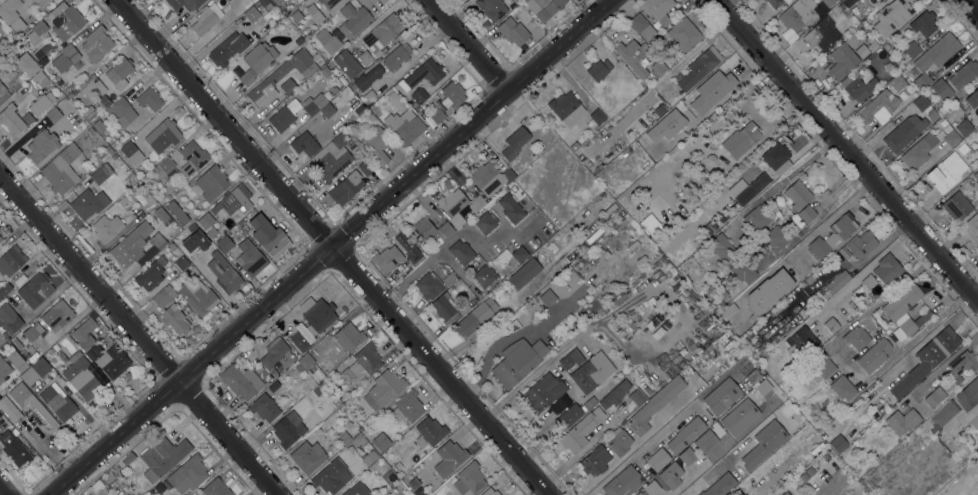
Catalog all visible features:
building: (877, 0)
building: (880, 0)
building: (277, 1)
building: (42, 2)
building: (828, 2)
building: (847, 2)
building: (265, 3)
building: (777, 3)
building: (332, 4)
building: (511, 5)
building: (193, 6)
building: (544, 7)
road: (971, 7)
building: (491, 8)
road: (976, 8)
building: (9, 10)
building: (657, 10)
building: (845, 12)
building: (797, 13)
building: (252, 14)
building: (315, 14)
building: (296, 16)
building: (892, 16)
building: (868, 19)
building: (353, 20)
building: (66, 21)
building: (203, 22)
building: (923, 24)
building: (641, 26)
building: (512, 31)
building: (37, 32)
building: (683, 34)
building: (821, 34)
building: (379, 37)
building: (869, 38)
building: (98, 41)
building: (328, 41)
road: (464, 43)
building: (873, 46)
building: (886, 46)
building: (227, 49)
building: (912, 49)
building: (634, 56)
building: (396, 57)
building: (65, 58)
building: (933, 59)
building: (256, 61)
building: (842, 61)
building: (891, 61)
building: (26, 65)
building: (346, 65)
building: (699, 67)
building: (598, 69)
building: (657, 69)
building: (119, 72)
building: (425, 73)
building: (373, 74)
building: (963, 74)
building: (39, 79)
building: (268, 81)
building: (897, 82)
building: (859, 84)
building: (290, 85)
building: (92, 86)
building: (939, 86)
building: (2, 89)
building: (334, 90)
building: (705, 93)
building: (369, 95)
building: (452, 95)
building: (417, 97)
building: (149, 99)
building: (953, 99)
building: (972, 99)
building: (103, 102)
building: (41, 103)
building: (921, 103)
building: (374, 107)
building: (566, 107)
building: (311, 108)
building: (877, 108)
building: (327, 110)
building: (659, 110)
building: (122, 112)
building: (932, 114)
building: (53, 115)
building: (436, 115)
building: (597, 116)
building: (692, 116)
building: (663, 118)
building: (281, 119)
building: (10, 121)
building: (99, 126)
building: (404, 126)
building: (964, 127)
building: (652, 131)
building: (904, 133)
building: (163, 134)
building: (949, 134)
building: (741, 140)
building: (339, 142)
building: (514, 143)
building: (304, 144)
building: (42, 145)
building: (376, 145)
building: (573, 146)
road: (847, 149)
building: (977, 149)
building: (919, 151)
building: (131, 153)
building: (192, 158)
building: (776, 158)
building: (710, 160)
building: (331, 165)
building: (364, 166)
building: (167, 167)
building: (61, 170)
building: (946, 173)
building: (101, 174)
building: (975, 175)
building: (488, 178)
building: (965, 182)
building: (211, 183)
road: (779, 183)
building: (754, 186)
building: (345, 188)
building: (798, 195)
building: (597, 199)
building: (234, 201)
building: (88, 203)
building: (148, 203)
building: (476, 203)
building: (452, 205)
building: (957, 206)
building: (510, 208)
building: (177, 212)
building: (807, 214)
building: (162, 216)
building: (758, 217)
building: (722, 218)
building: (205, 220)
building: (485, 223)
building: (106, 228)
building: (192, 228)
building: (652, 228)
building: (0, 229)
building: (970, 229)
building: (432, 230)
building: (210, 232)
building: (1, 236)
building: (268, 236)
building: (200, 237)
building: (832, 237)
building: (0, 239)
road: (454, 239)
building: (775, 239)
road: (805, 241)
building: (224, 244)
building: (861, 244)
building: (139, 246)
building: (171, 246)
building: (720, 246)
road: (333, 247)
road: (329, 249)
building: (461, 252)
building: (519, 254)
building: (414, 256)
building: (250, 258)
building: (387, 259)
building: (12, 260)
building: (180, 263)
building: (887, 269)
building: (742, 270)
road: (862, 272)
building: (524, 273)
building: (818, 273)
building: (150, 274)
building: (223, 274)
building: (484, 276)
building: (810, 278)
building: (561, 279)
building: (836, 282)
building: (868, 282)
building: (426, 285)
building: (4, 290)
building: (35, 290)
building: (768, 291)
building: (721, 292)
building: (164, 296)
building: (197, 297)
building: (546, 299)
building: (618, 299)
building: (442, 306)
building: (729, 310)
building: (903, 313)
building: (57, 315)
building: (9, 319)
building: (174, 319)
building: (312, 321)
building: (467, 323)
building: (831, 325)
building: (84, 333)
building: (30, 334)
road: (140, 334)
building: (348, 336)
building: (856, 338)
building: (548, 339)
building: (801, 341)
building: (90, 355)
building: (873, 355)
building: (276, 356)
building: (62, 357)
building: (570, 359)
building: (110, 360)
building: (926, 360)
building: (16, 361)
building: (365, 361)
building: (518, 361)
building: (304, 363)
road: (843, 365)
building: (962, 366)
building: (819, 367)
building: (3, 370)
building: (35, 371)
building: (592, 372)
building: (756, 375)
building: (81, 377)
building: (241, 381)
building: (323, 384)
building: (763, 387)
building: (383, 389)
building: (840, 390)
building: (317, 391)
building: (543, 392)
building: (968, 394)
building: (615, 395)
building: (637, 396)
building: (722, 396)
building: (936, 398)
building: (58, 402)
building: (338, 402)
building: (589, 402)
building: (30, 403)
building: (654, 404)
building: (407, 407)
building: (264, 408)
building: (9, 409)
building: (948, 410)
building: (0, 414)
building: (570, 415)
building: (826, 415)
building: (740, 417)
building: (937, 419)
building: (902, 421)
building: (975, 421)
building: (827, 426)
building: (288, 429)
building: (580, 430)
building: (429, 432)
building: (685, 435)
building: (343, 436)
building: (619, 441)
building: (705, 441)
building: (380, 442)
building: (837, 443)
building: (764, 444)
road: (631, 448)
building: (14, 449)
road: (639, 450)
building: (162, 457)
building: (307, 457)
building: (686, 457)
building: (127, 458)
building: (369, 458)
building: (449, 458)
building: (658, 460)
building: (595, 461)
road: (716, 465)
building: (186, 475)
building: (670, 475)
building: (331, 477)
building: (469, 479)
building: (623, 482)
building: (720, 485)
building: (119, 487)
building: (416, 487)
building: (159, 488)
building: (215, 488)
building: (652, 488)
building: (357, 490)
building: (489, 492)
building: (639, 493)
building: (785, 493)
road: (0, 494)

